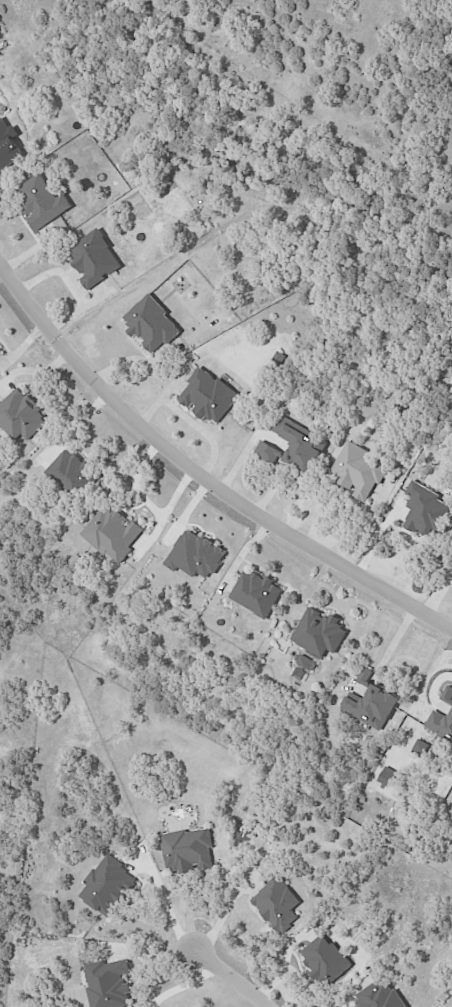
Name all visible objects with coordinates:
building: (8, 145)
building: (42, 202)
building: (95, 259)
building: (151, 324)
building: (0, 353)
road: (34, 372)
building: (207, 396)
building: (21, 416)
road: (72, 429)
building: (300, 444)
building: (267, 452)
building: (70, 471)
building: (358, 471)
road: (202, 474)
road: (147, 502)
building: (424, 510)
building: (113, 534)
road: (154, 535)
building: (195, 555)
building: (256, 593)
building: (319, 633)
road: (394, 642)
building: (302, 661)
road: (432, 690)
building: (447, 695)
building: (371, 702)
building: (440, 724)
building: (420, 748)
building: (188, 850)
building: (107, 886)
building: (277, 904)
road: (171, 906)
road: (224, 912)
building: (324, 959)
road: (232, 978)
building: (108, 984)
building: (378, 995)

